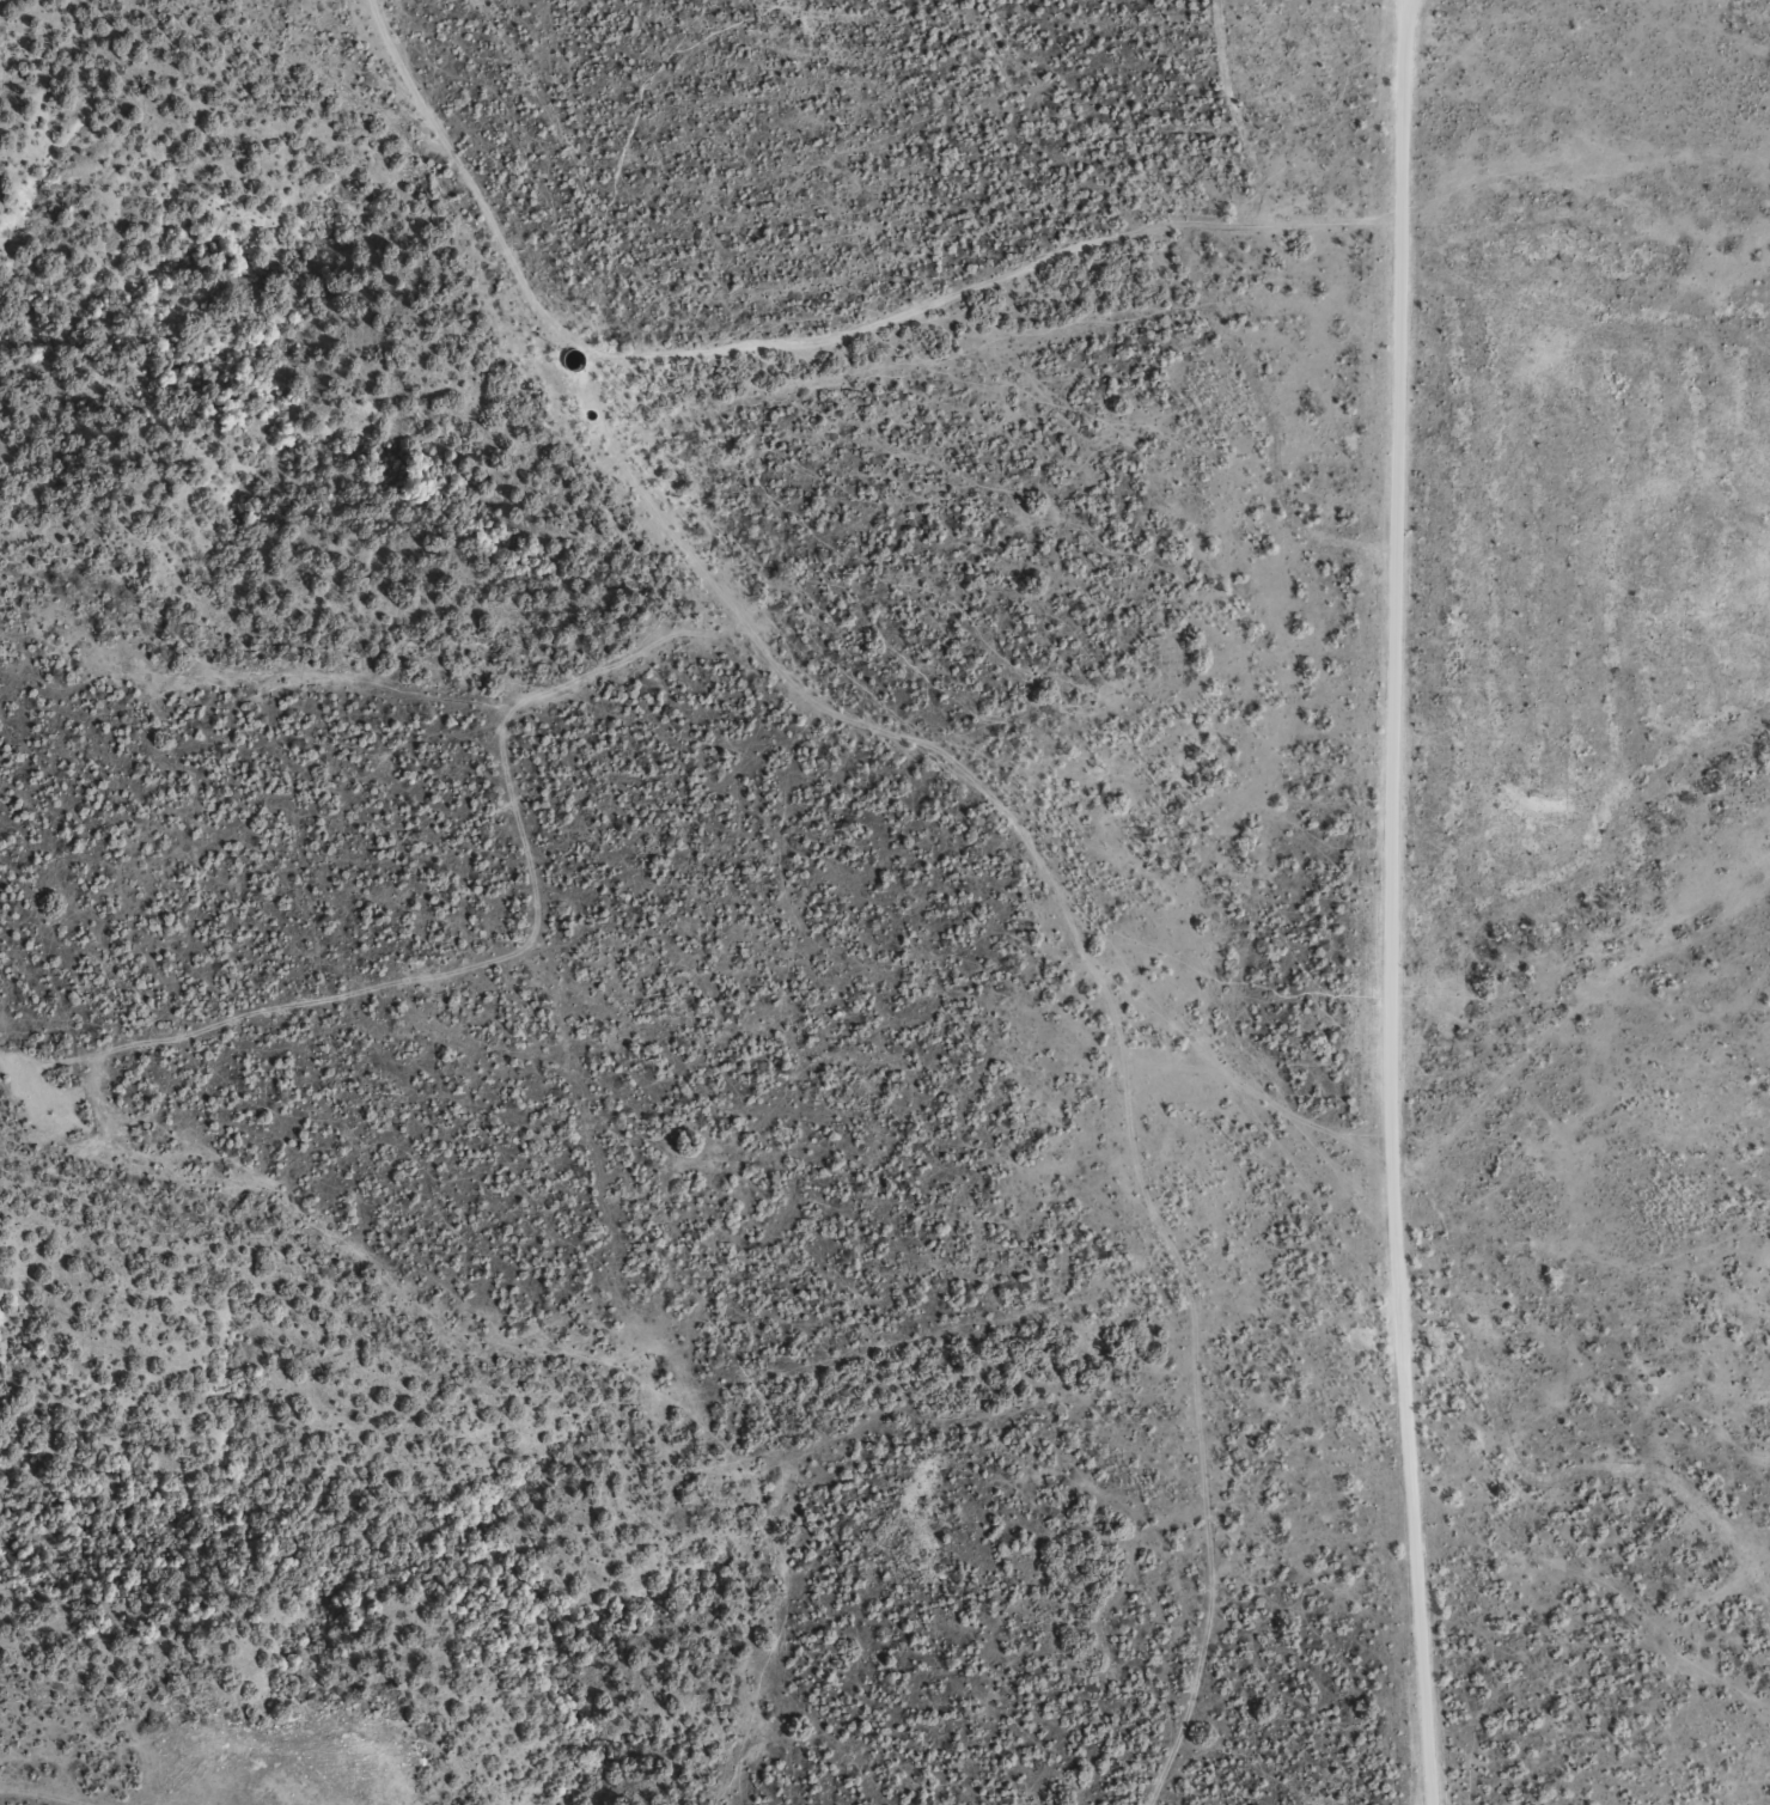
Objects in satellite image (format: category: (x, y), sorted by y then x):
road: (1001, 799)

